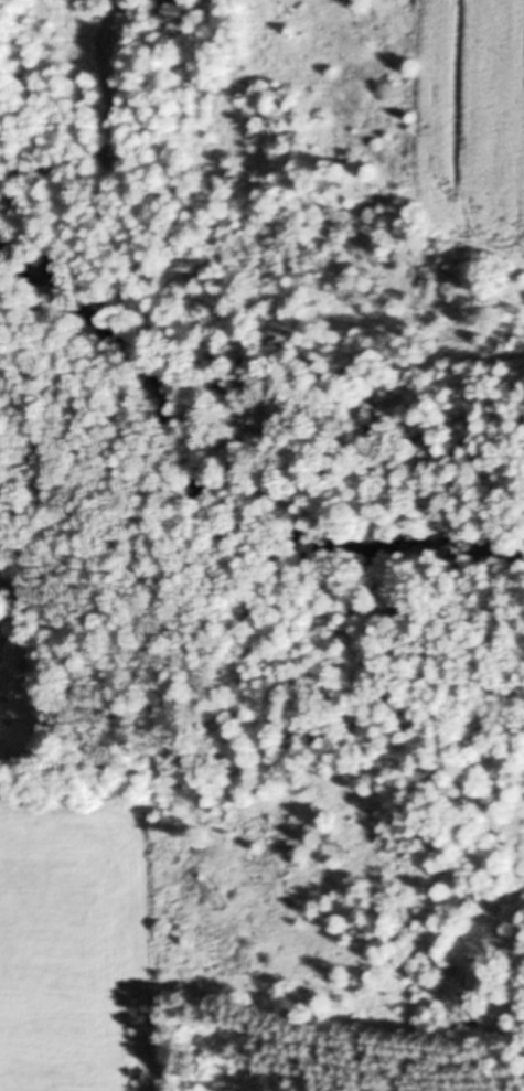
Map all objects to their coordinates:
building: (2, 684)

